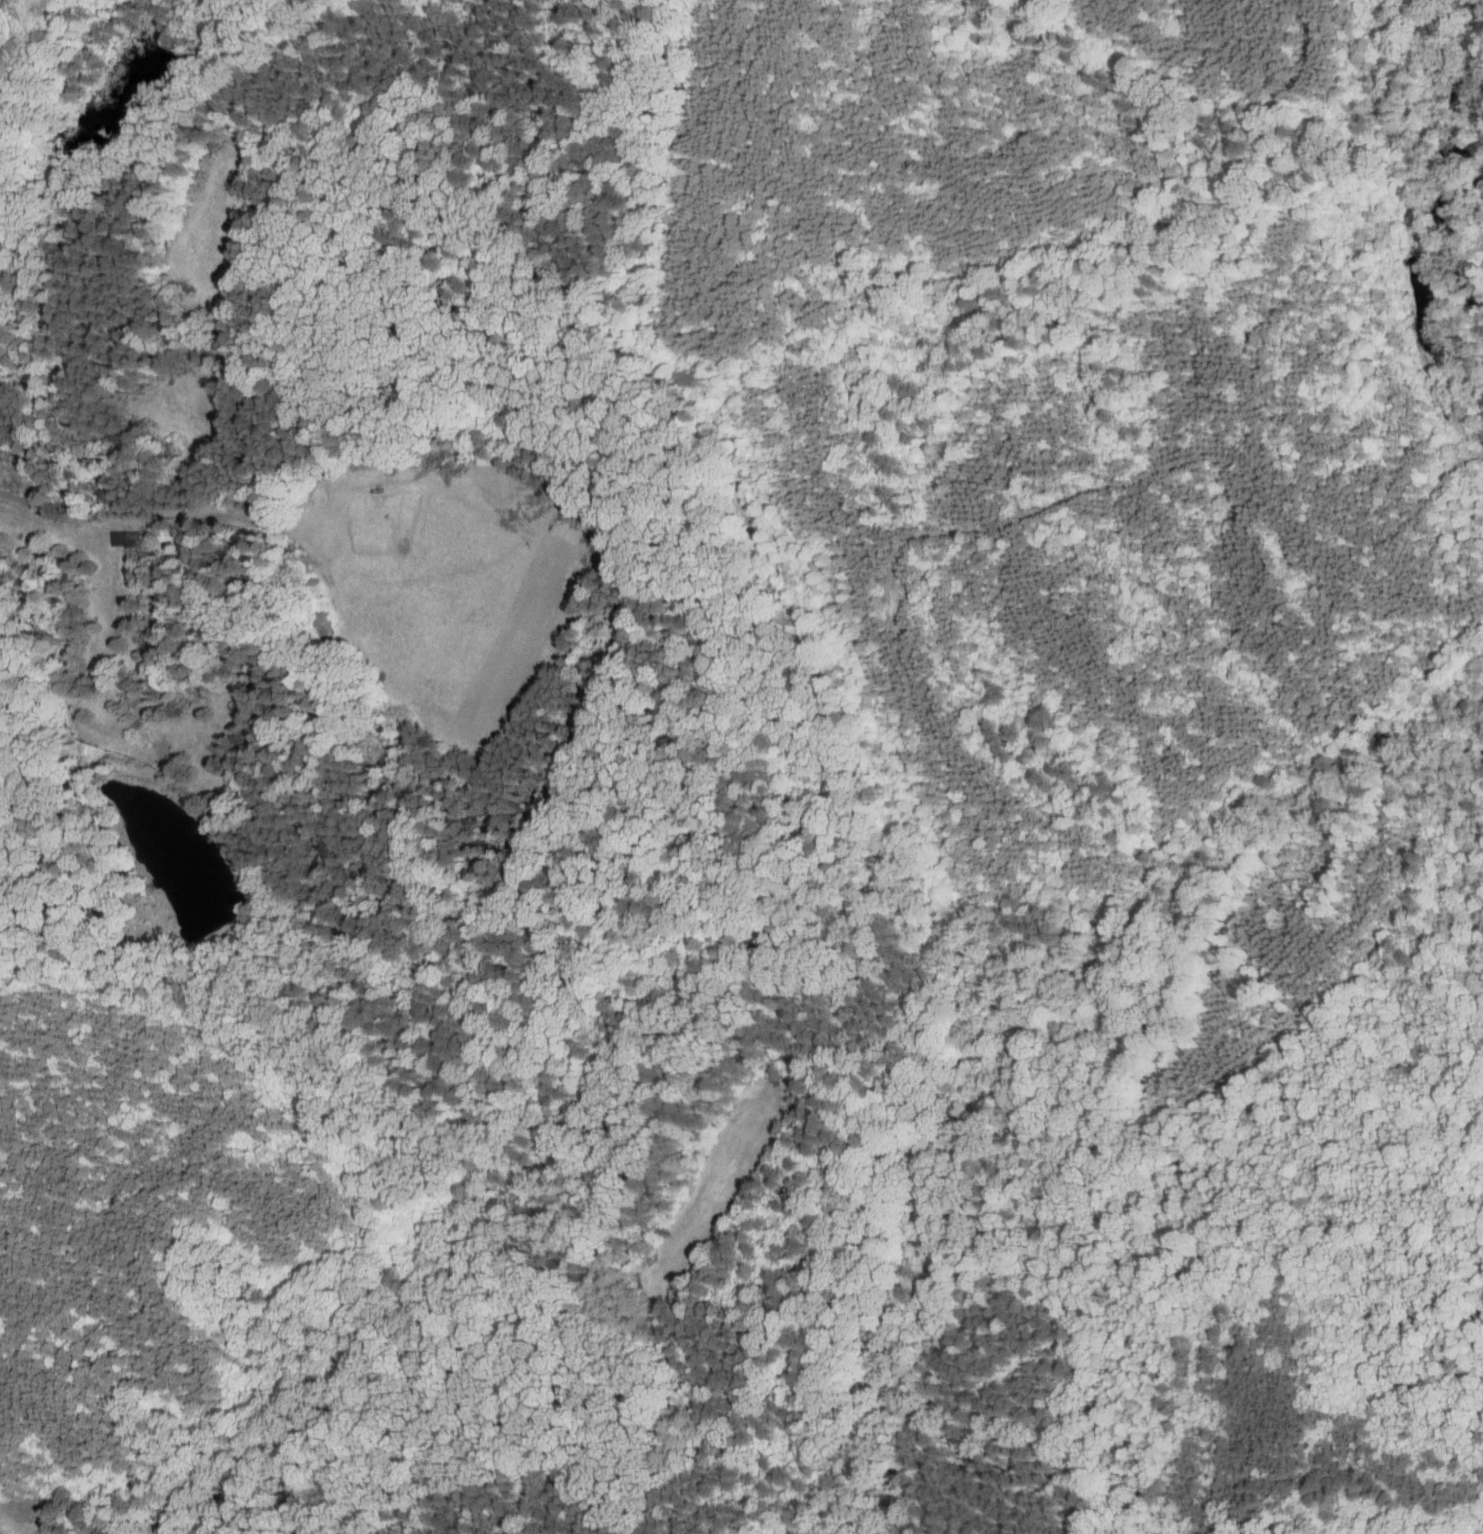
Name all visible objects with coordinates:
road: (60, 512)
building: (119, 531)

